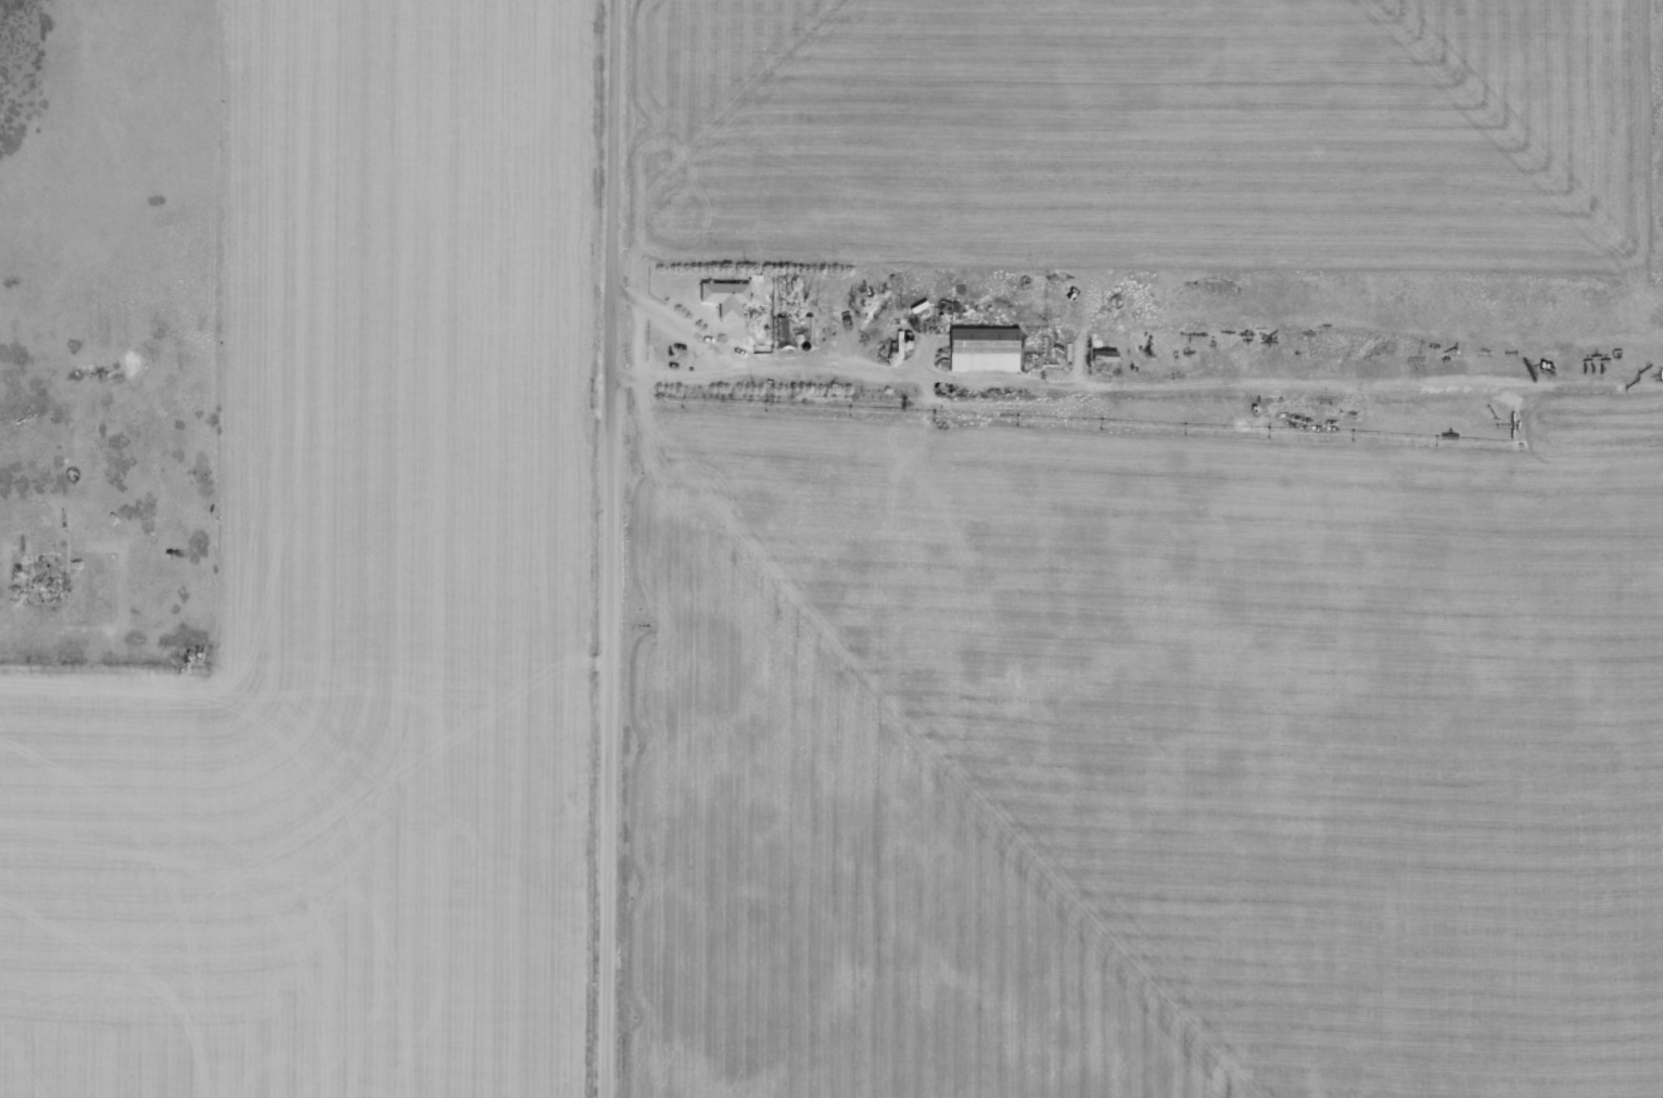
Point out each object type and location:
building: (727, 296)
building: (987, 349)
road: (612, 549)

